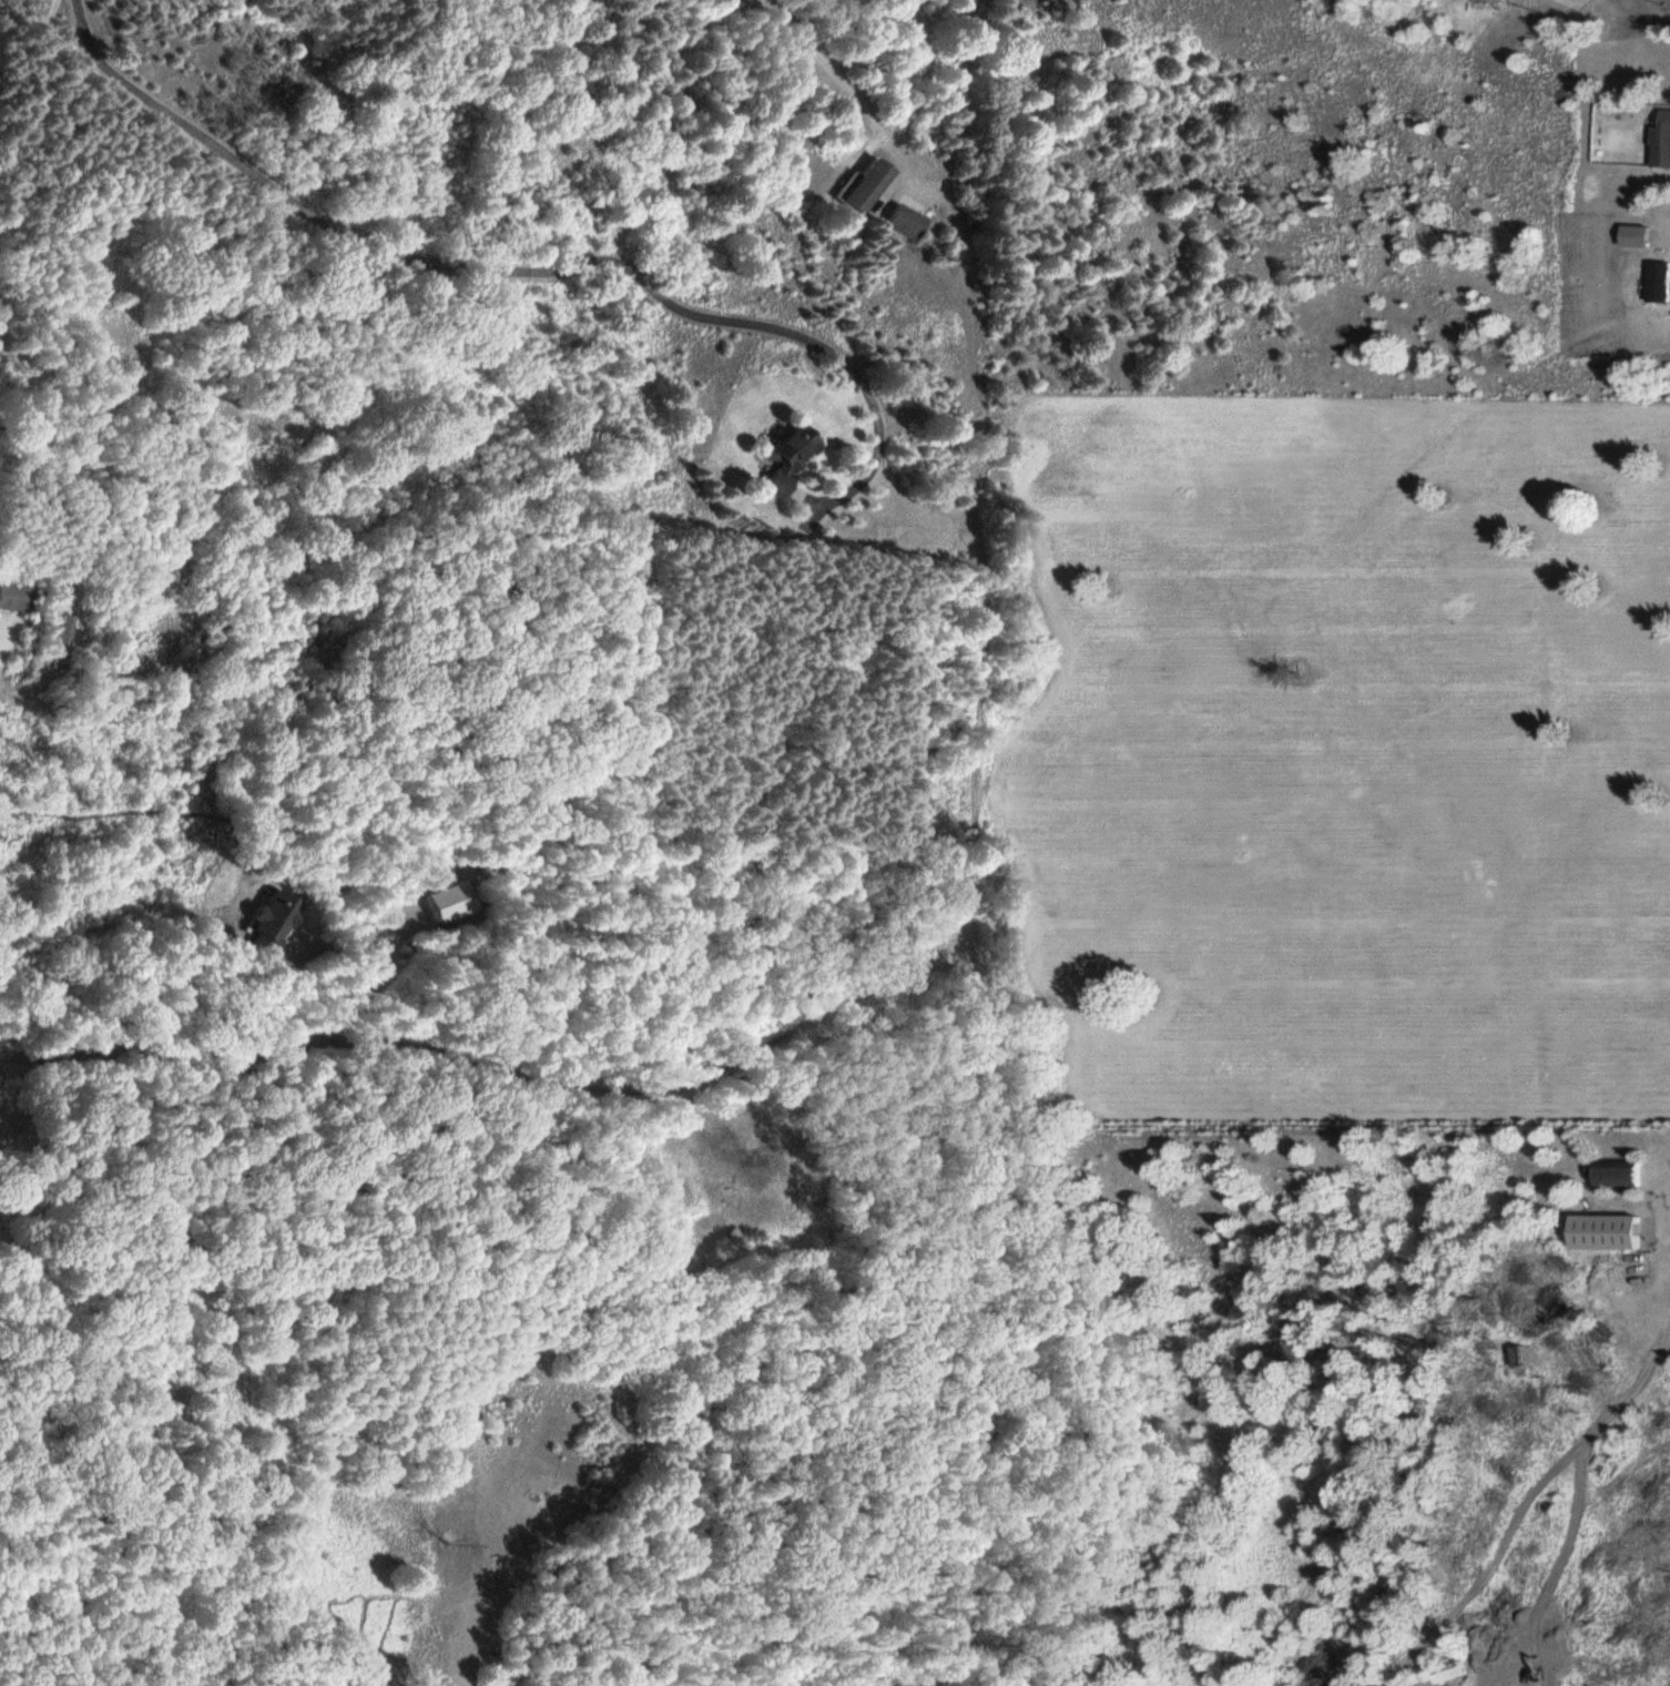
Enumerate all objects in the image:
building: (1486, 0)
road: (841, 75)
road: (30, 108)
building: (1662, 139)
building: (864, 186)
building: (903, 223)
road: (516, 274)
building: (1660, 281)
building: (785, 458)
building: (18, 599)
building: (67, 643)
road: (522, 1073)
building: (1617, 1175)
building: (1641, 1312)
building: (1632, 1345)
road: (1637, 1576)
building: (1456, 1675)

